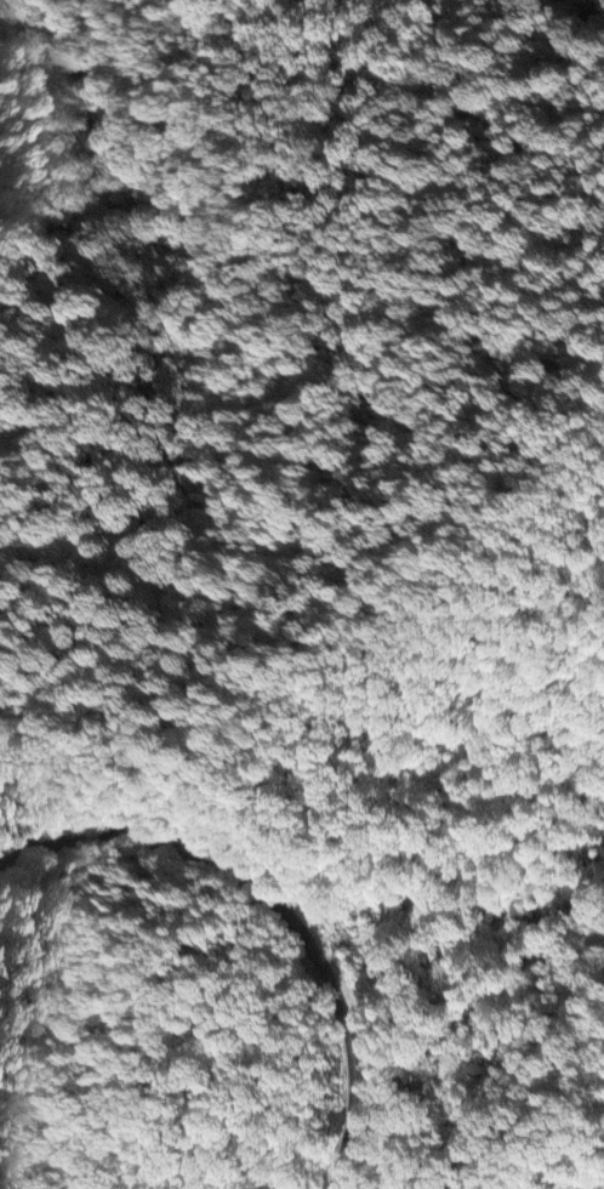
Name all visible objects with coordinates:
road: (279, 908)

